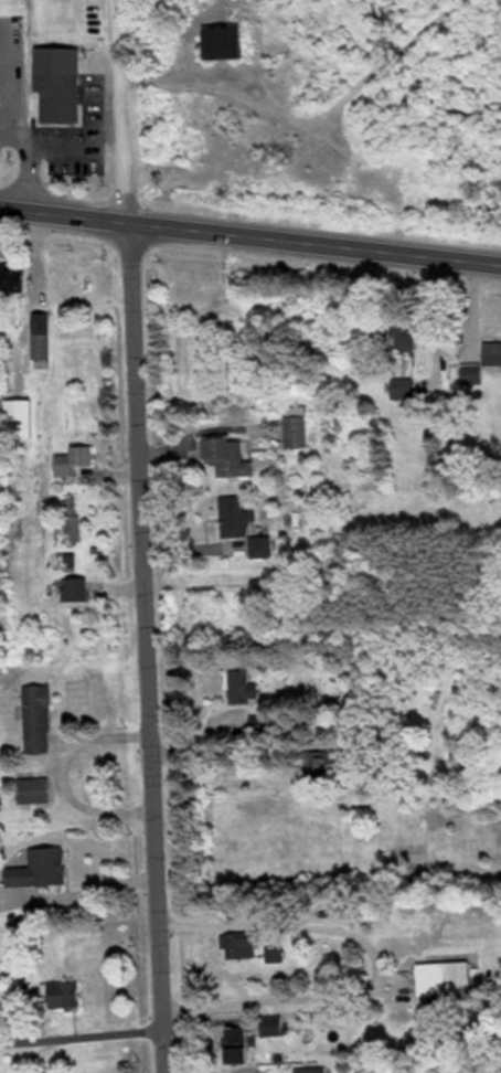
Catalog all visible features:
building: (223, 41)
building: (57, 96)
road: (250, 232)
building: (12, 276)
building: (40, 337)
building: (492, 352)
building: (402, 387)
building: (18, 417)
building: (295, 431)
building: (230, 455)
building: (72, 458)
building: (235, 516)
building: (73, 518)
road: (141, 535)
building: (75, 588)
building: (388, 663)
building: (242, 687)
building: (36, 719)
building: (324, 762)
building: (32, 789)
building: (38, 868)
building: (241, 943)
building: (273, 952)
building: (444, 976)
building: (62, 991)
building: (4, 1012)
building: (270, 1023)
building: (235, 1043)
building: (308, 1069)

